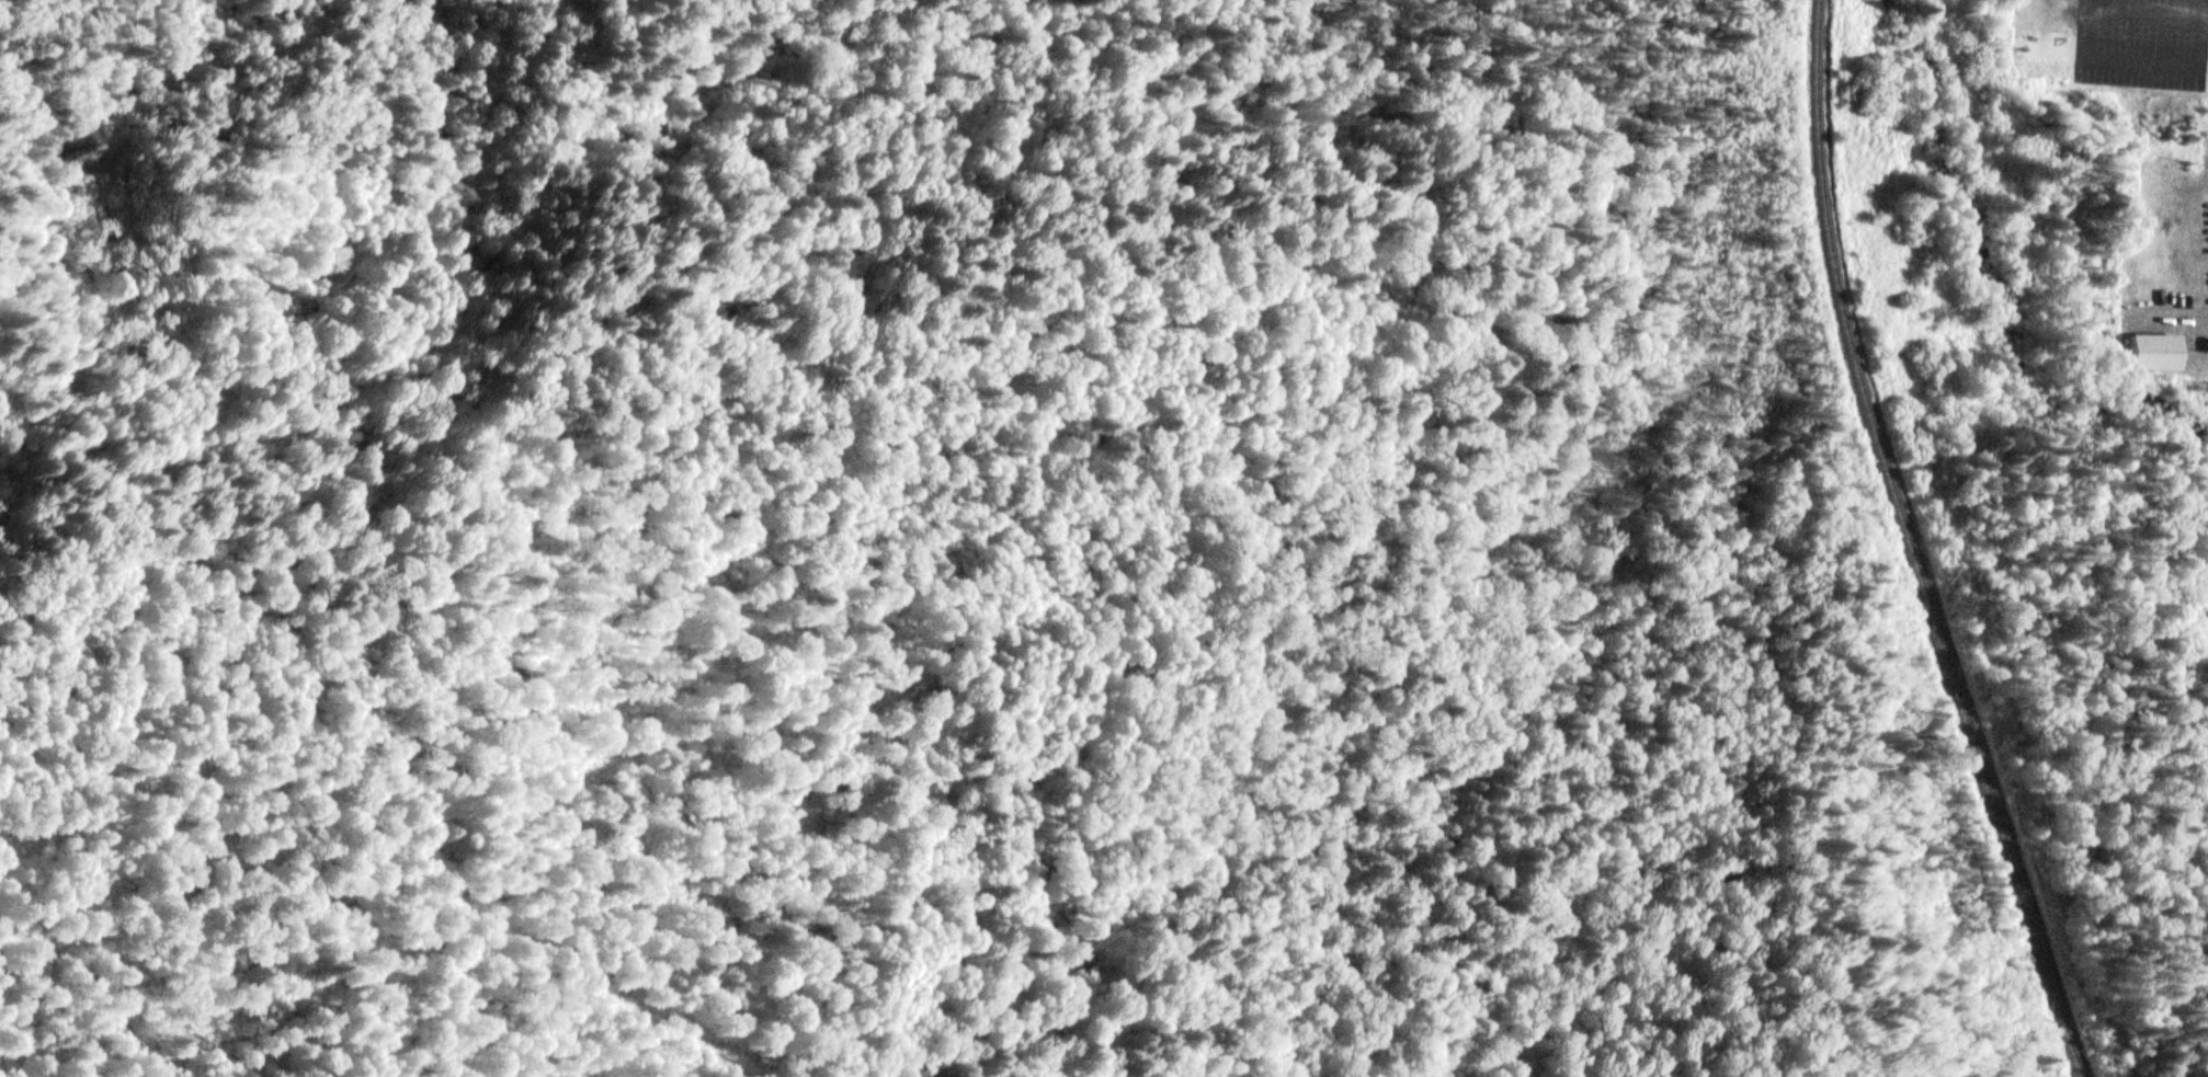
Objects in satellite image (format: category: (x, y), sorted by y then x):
river: (2006, 313)
building: (2154, 355)
railway: (1910, 546)
river: (2204, 657)

